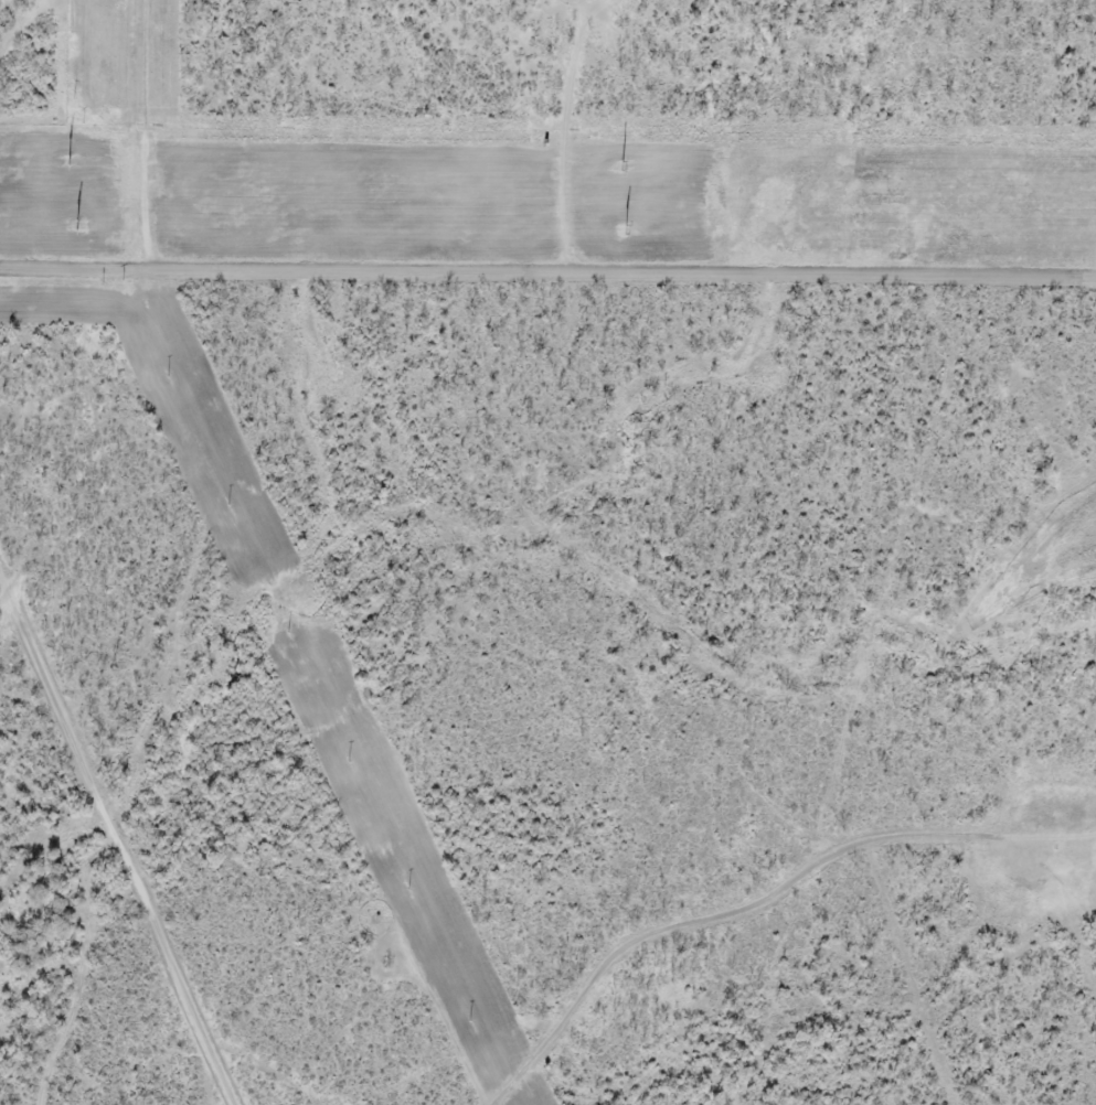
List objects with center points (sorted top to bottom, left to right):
power tower: (68, 159)
power tower: (623, 165)
power tower: (77, 225)
power tower: (627, 230)
road: (547, 270)

